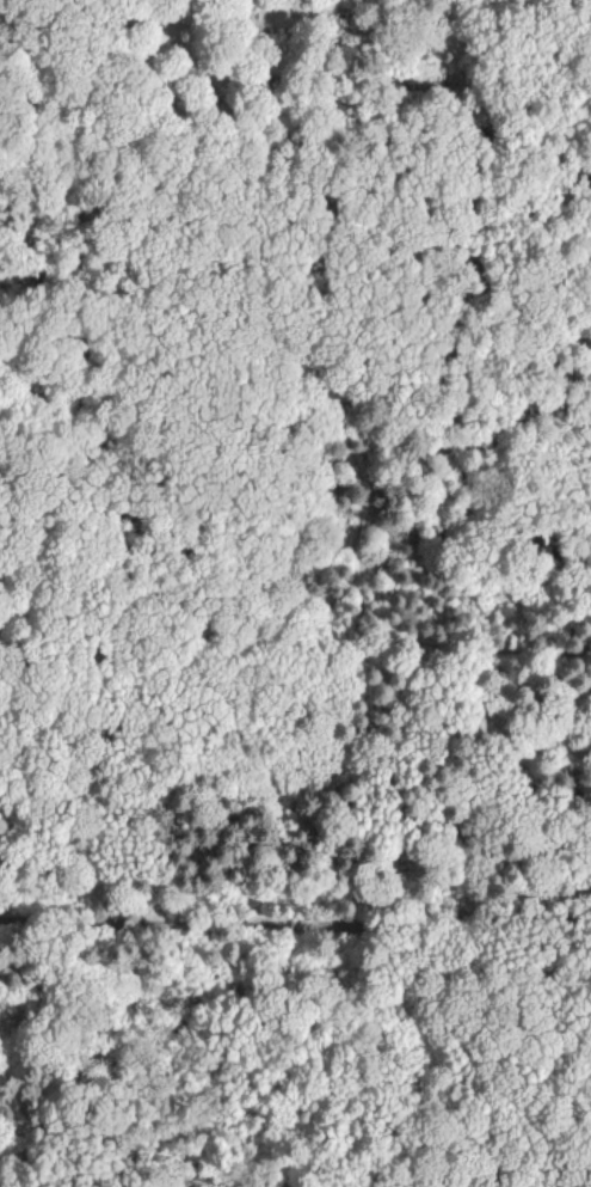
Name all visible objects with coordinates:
road: (44, 129)
road: (295, 924)
road: (506, 1174)
road: (2, 1186)

